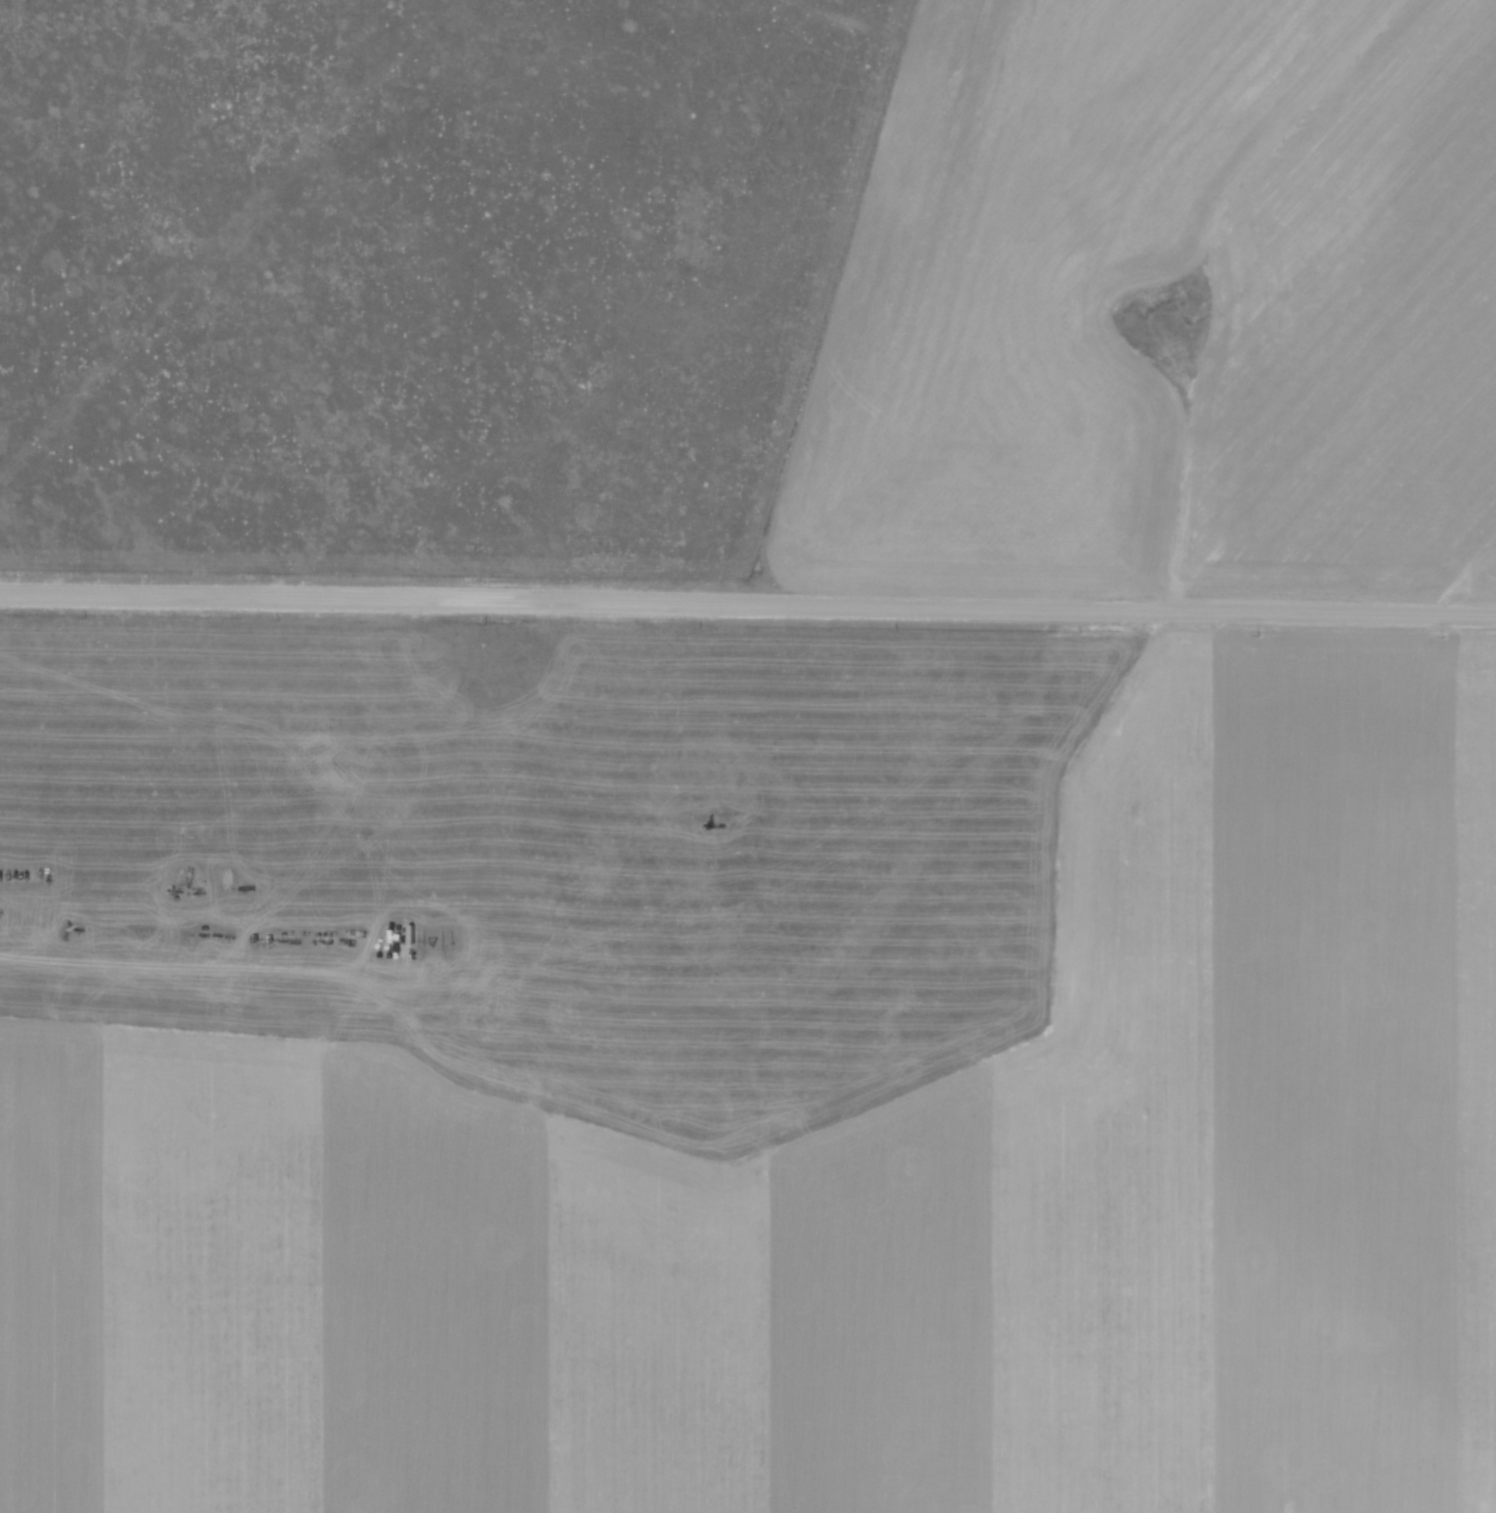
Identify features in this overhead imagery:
crop: (1357, 296)
road: (748, 605)
crop: (854, 1197)

